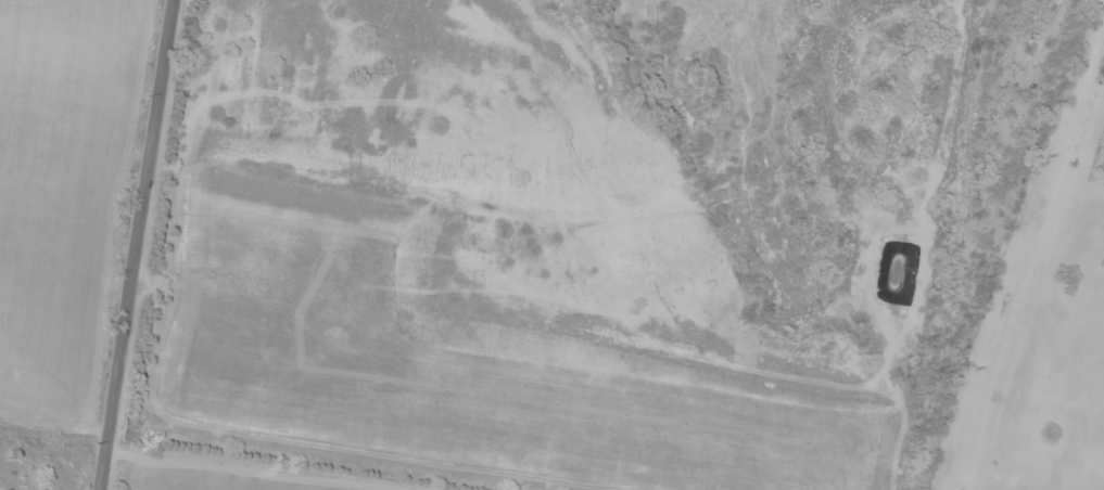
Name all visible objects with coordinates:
road: (136, 245)
road: (1027, 256)

